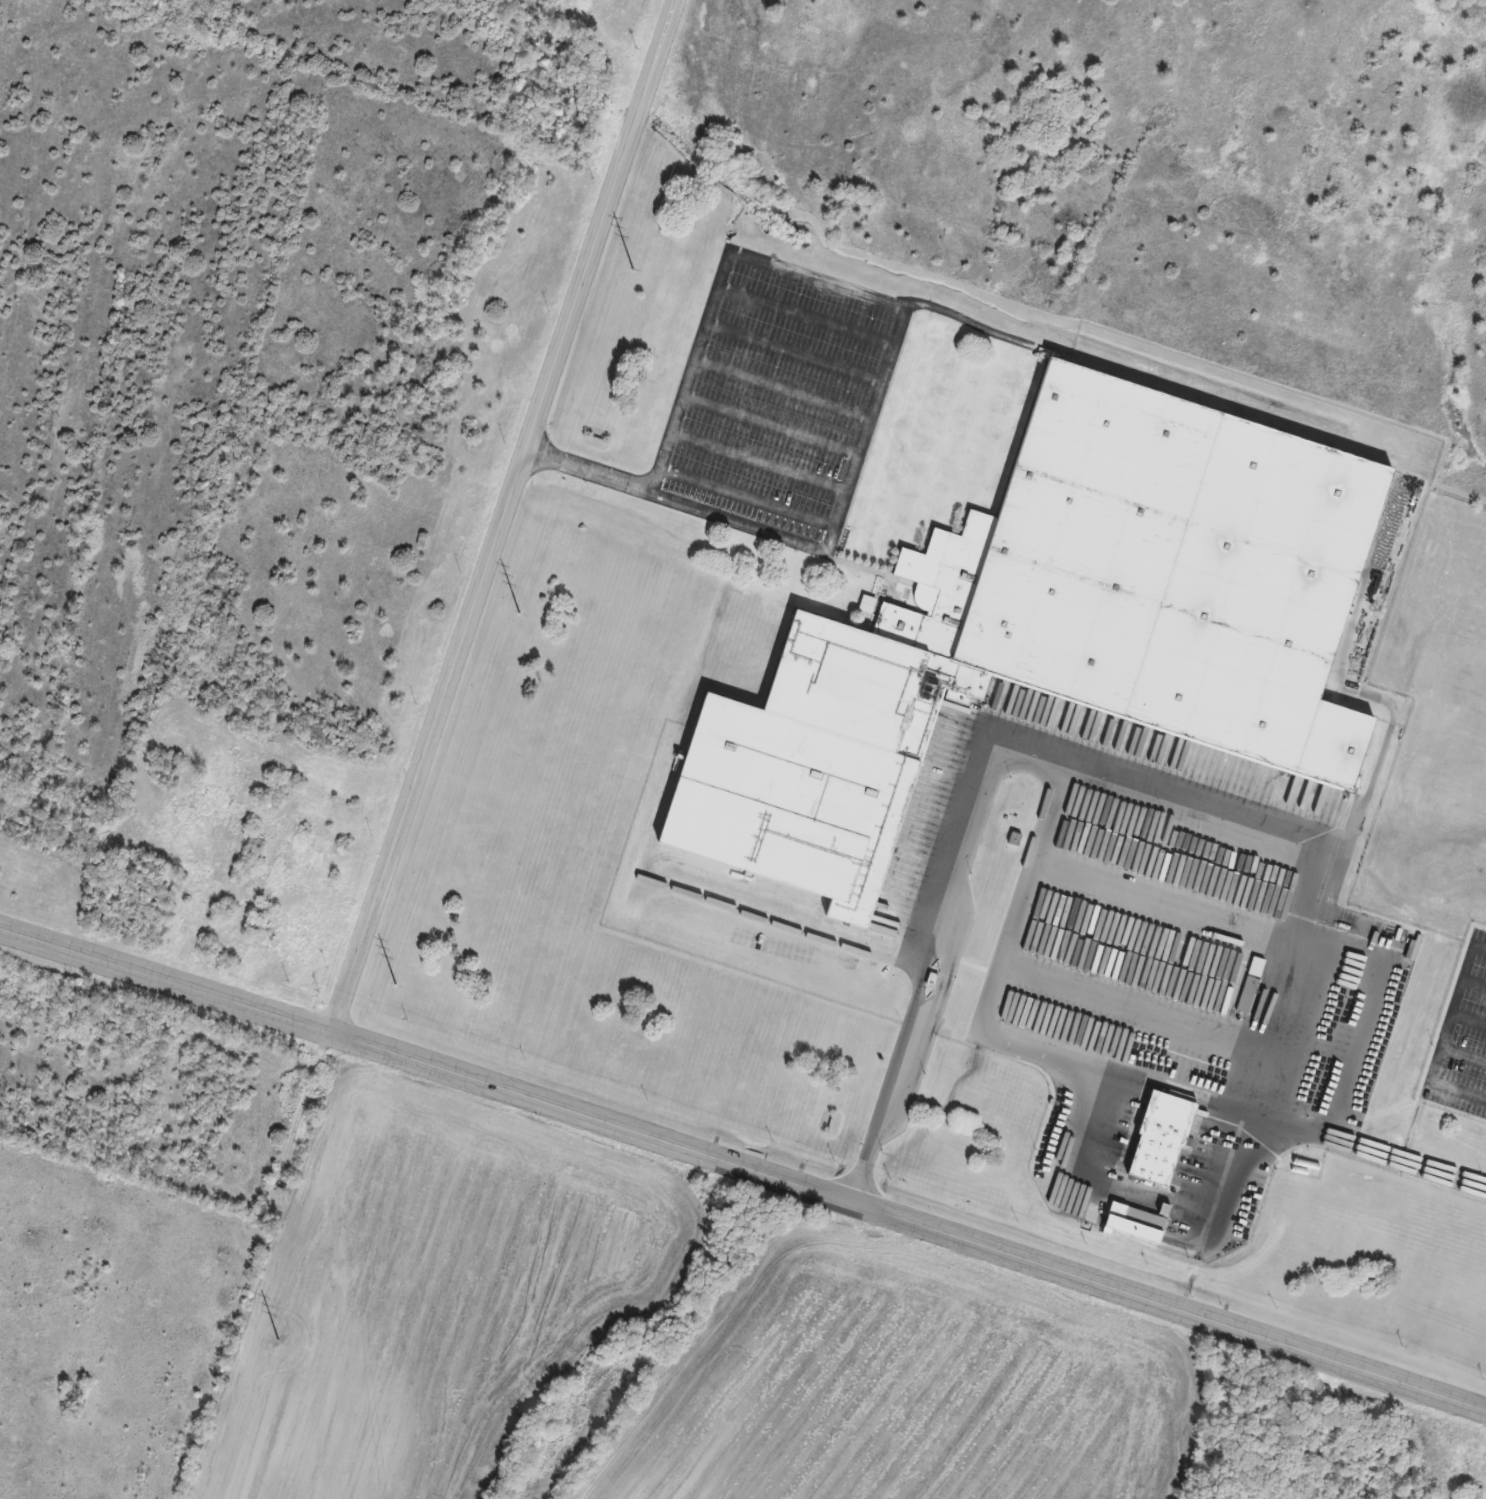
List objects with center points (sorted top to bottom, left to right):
power tower: (641, 248)
road: (863, 293)
road: (802, 323)
road: (793, 354)
road: (781, 389)
parking lot: (779, 402)
road: (770, 425)
road: (667, 436)
road: (756, 466)
road: (588, 472)
road: (506, 517)
road: (746, 525)
power tower: (522, 612)
building: (1054, 628)
power tower: (398, 985)
building: (1157, 1138)
road: (743, 1168)
building: (1132, 1222)
power tower: (284, 1342)
crop: (905, 1385)

